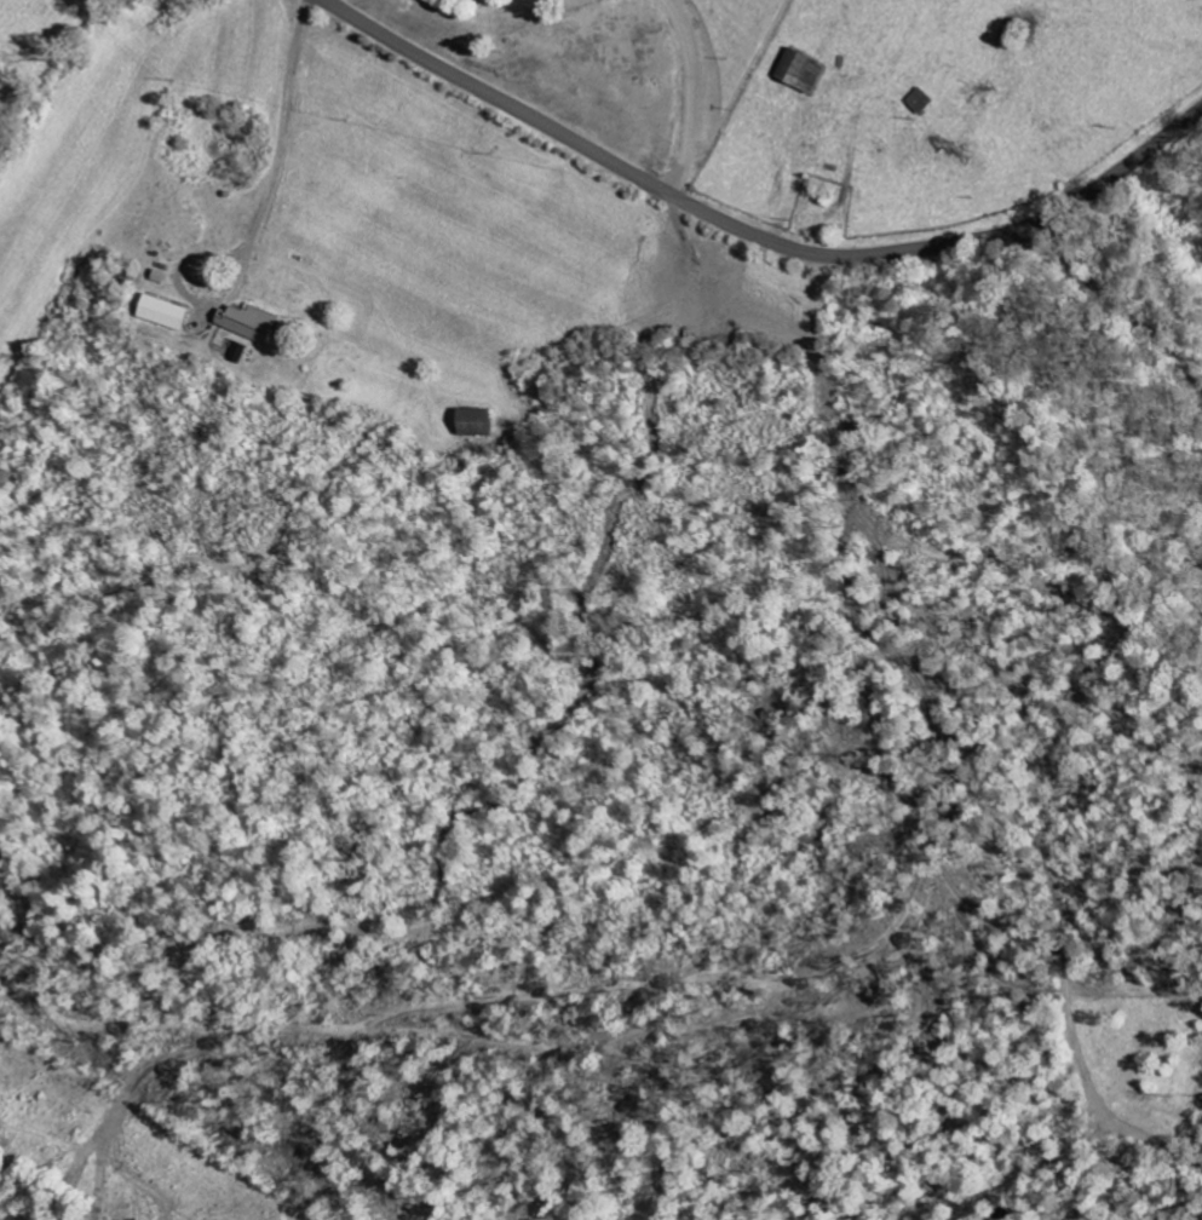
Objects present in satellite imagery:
road: (754, 235)
road: (1114, 300)
building: (165, 313)
building: (248, 323)
building: (473, 424)

